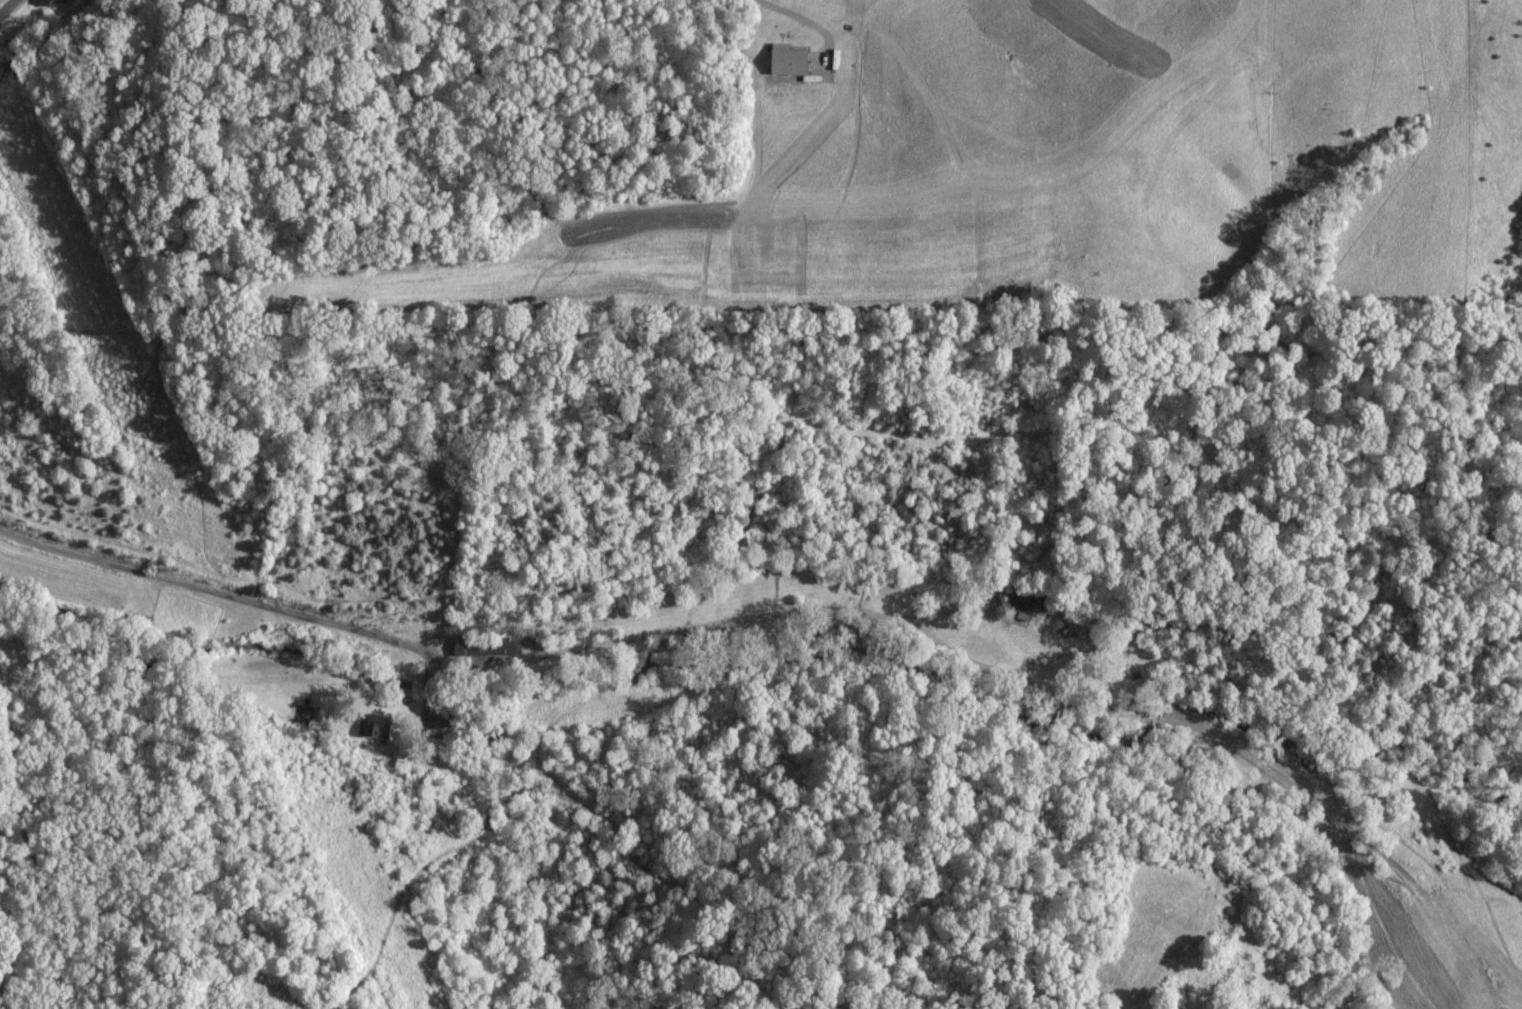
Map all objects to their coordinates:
road: (7, 7)
building: (784, 62)
power tower: (103, 352)
road: (214, 589)
building: (1021, 604)
building: (372, 725)
power tower: (419, 1008)

